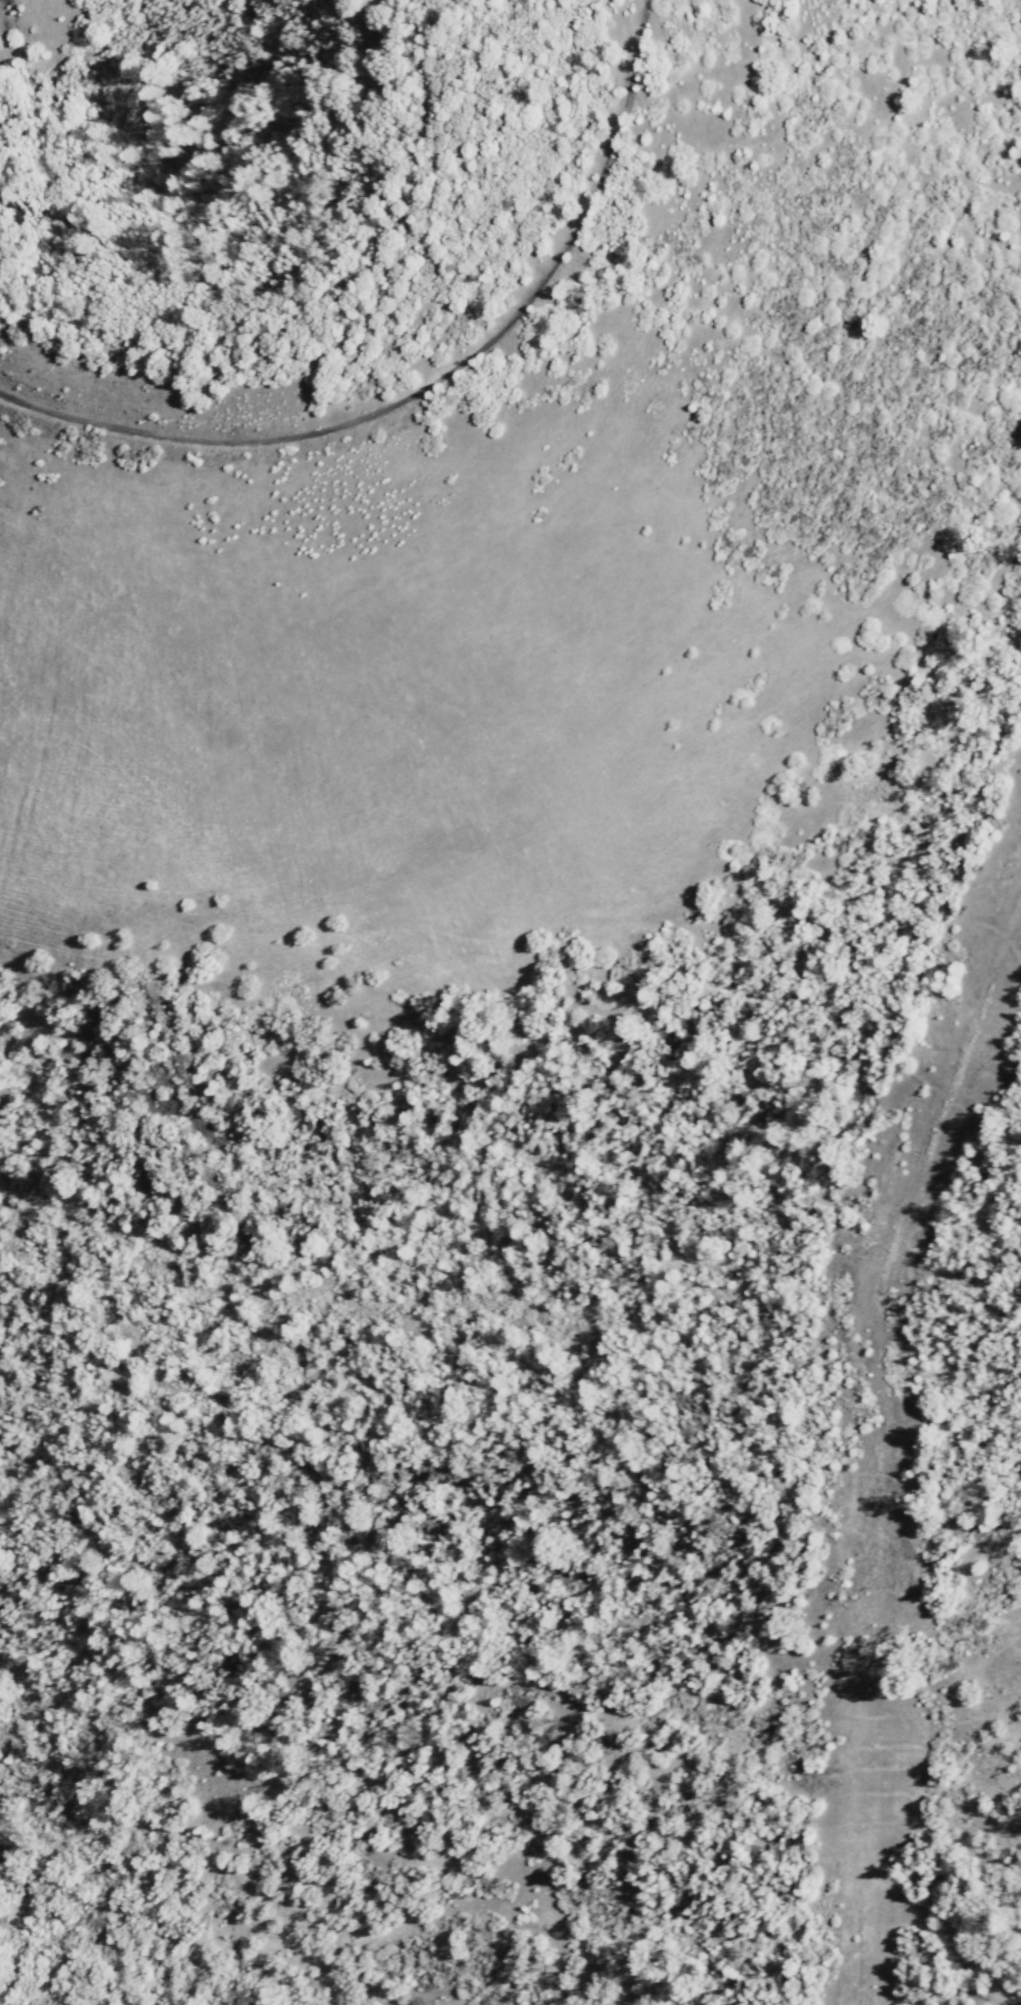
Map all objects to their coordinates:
quarry: (37, 32)
road: (437, 384)

